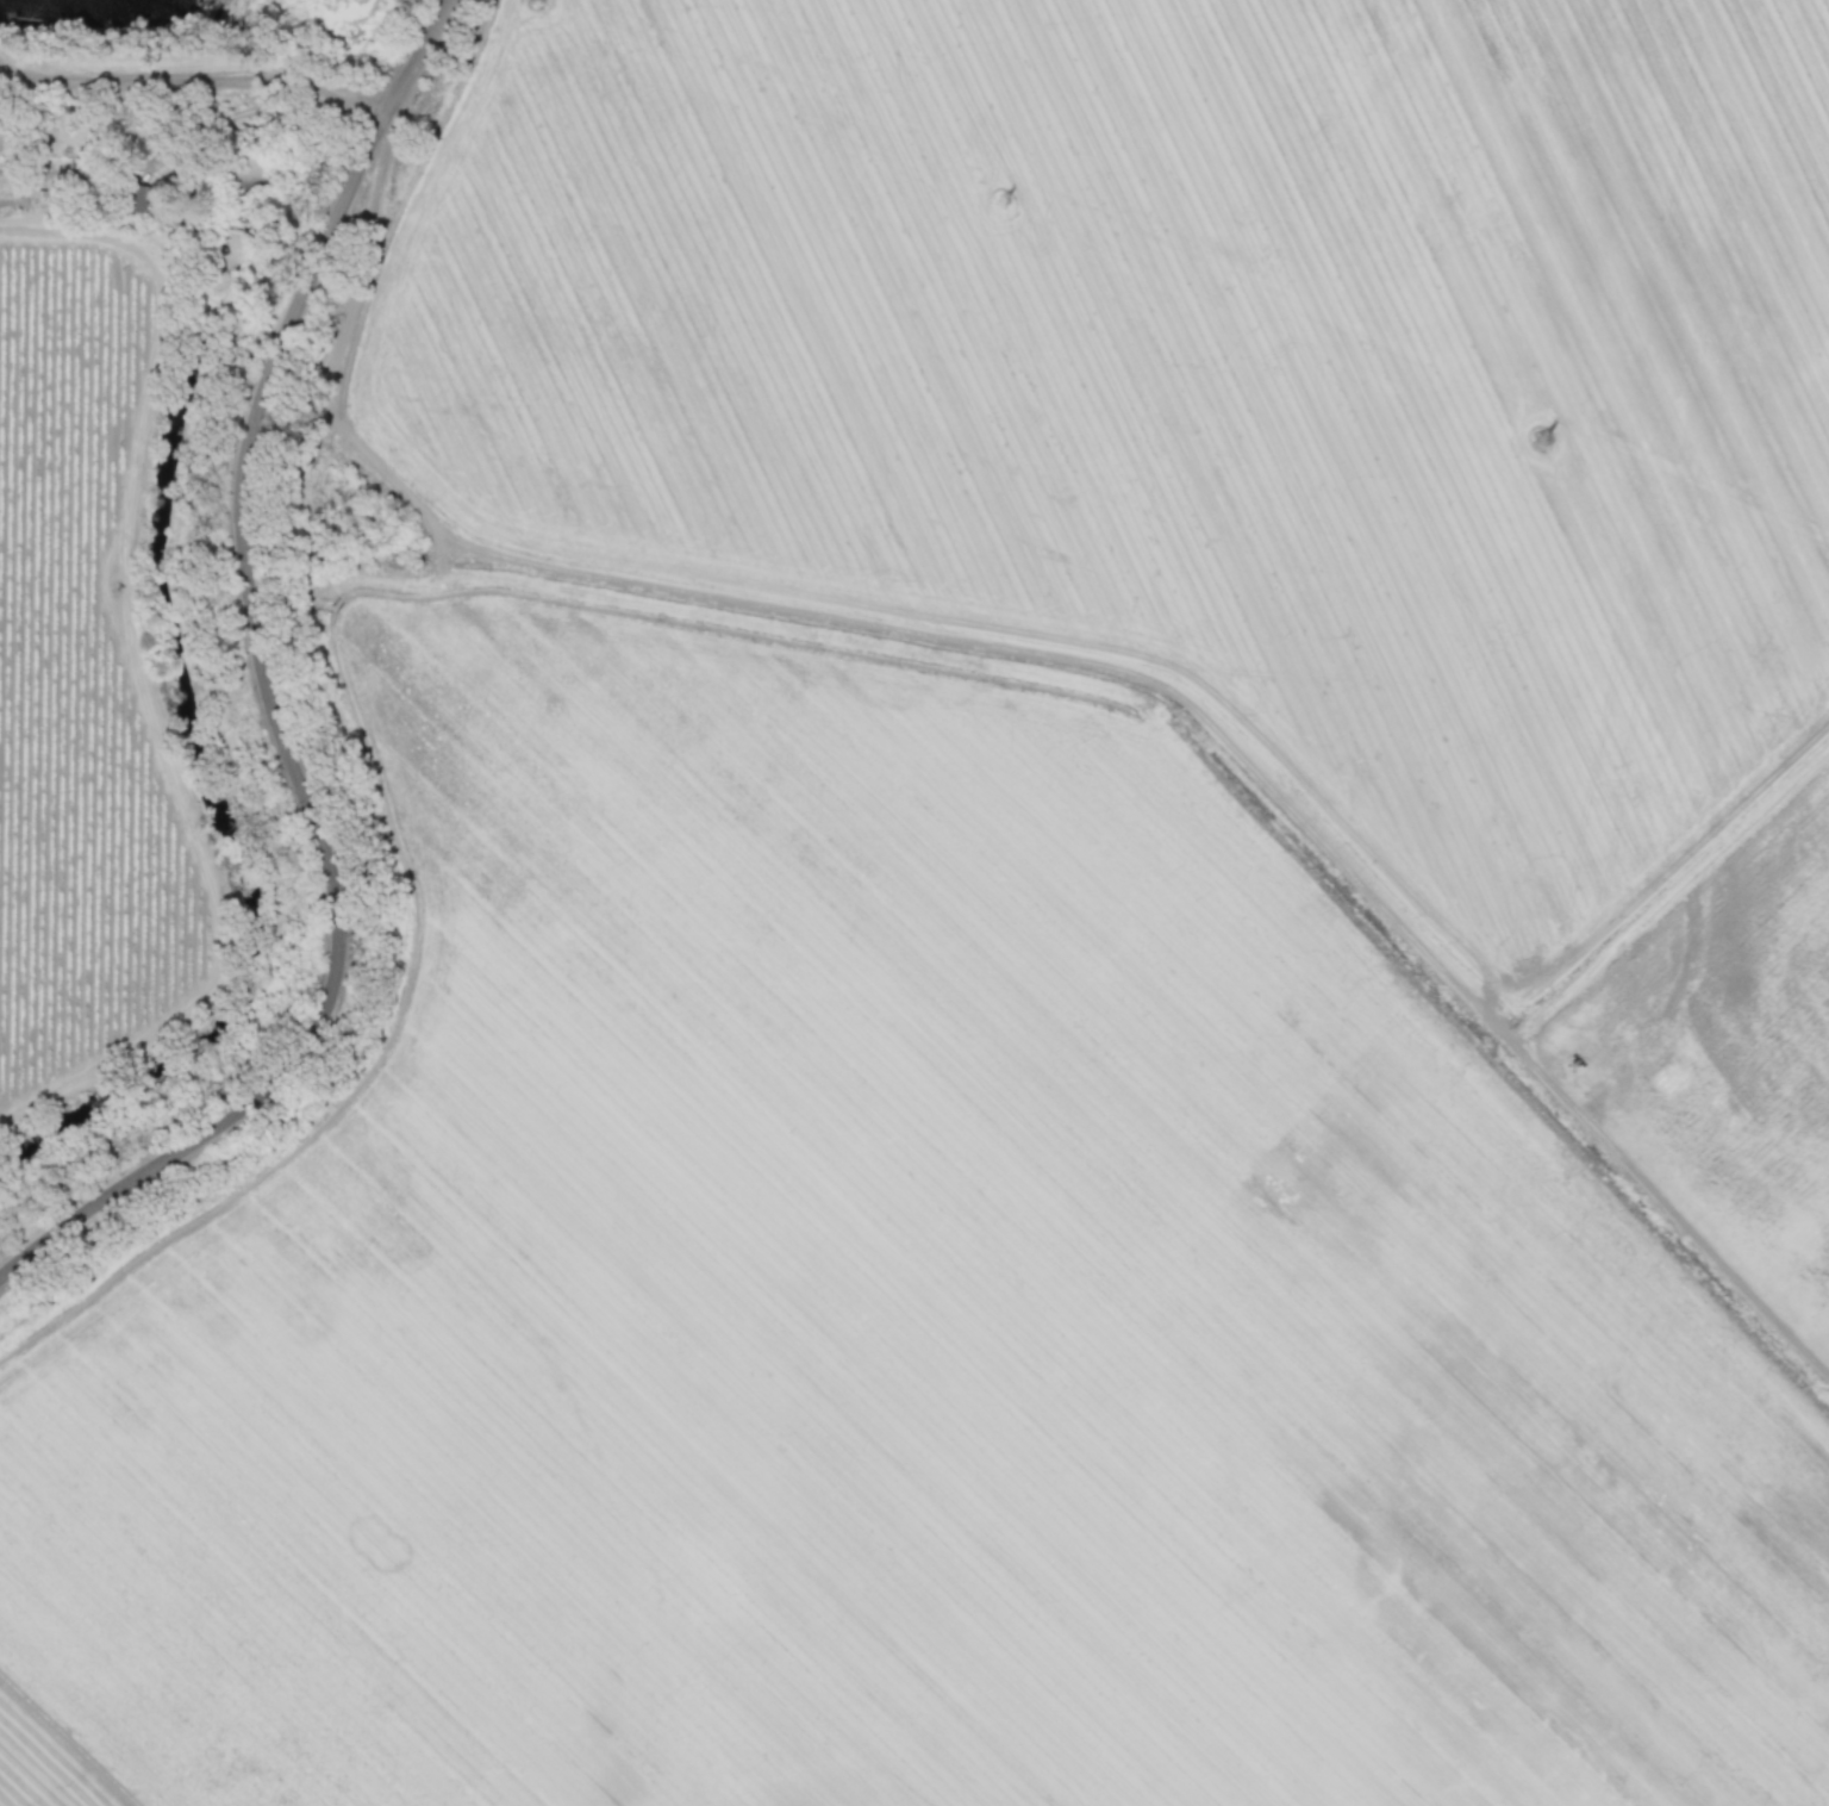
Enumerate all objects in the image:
road: (188, 79)
power tower: (1003, 206)
road: (342, 335)
power tower: (1523, 432)
road: (261, 698)

